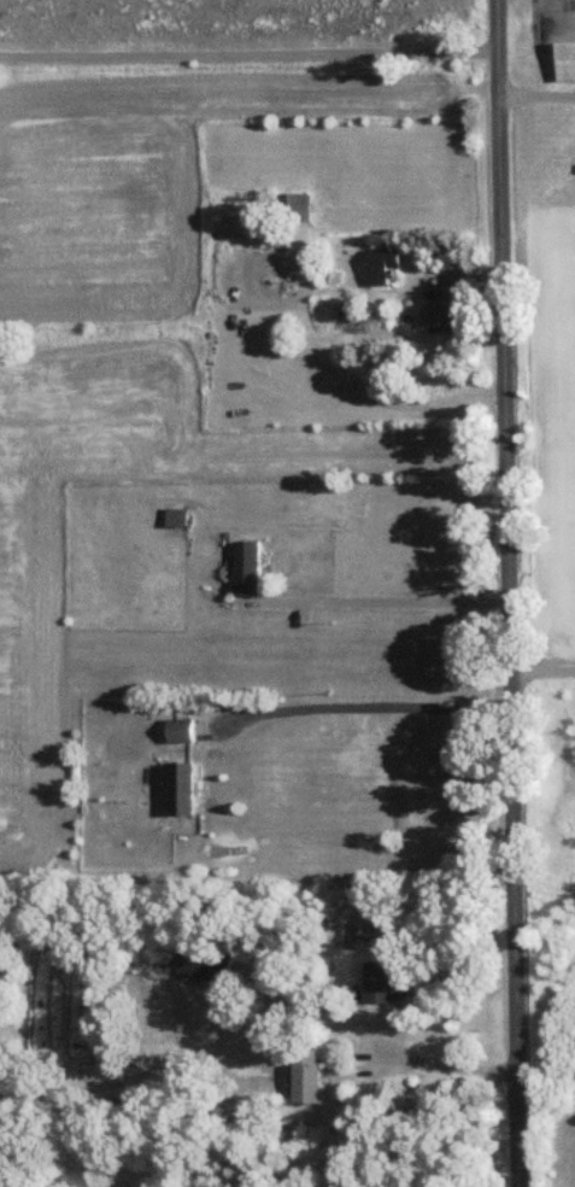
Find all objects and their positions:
road: (253, 52)
building: (565, 62)
road: (542, 95)
building: (293, 207)
building: (383, 267)
building: (438, 315)
building: (247, 567)
road: (511, 592)
road: (387, 601)
road: (544, 669)
road: (370, 707)
building: (183, 730)
building: (183, 788)
building: (348, 936)
building: (162, 954)
building: (205, 964)
building: (377, 982)
road: (394, 1047)
building: (306, 1075)

